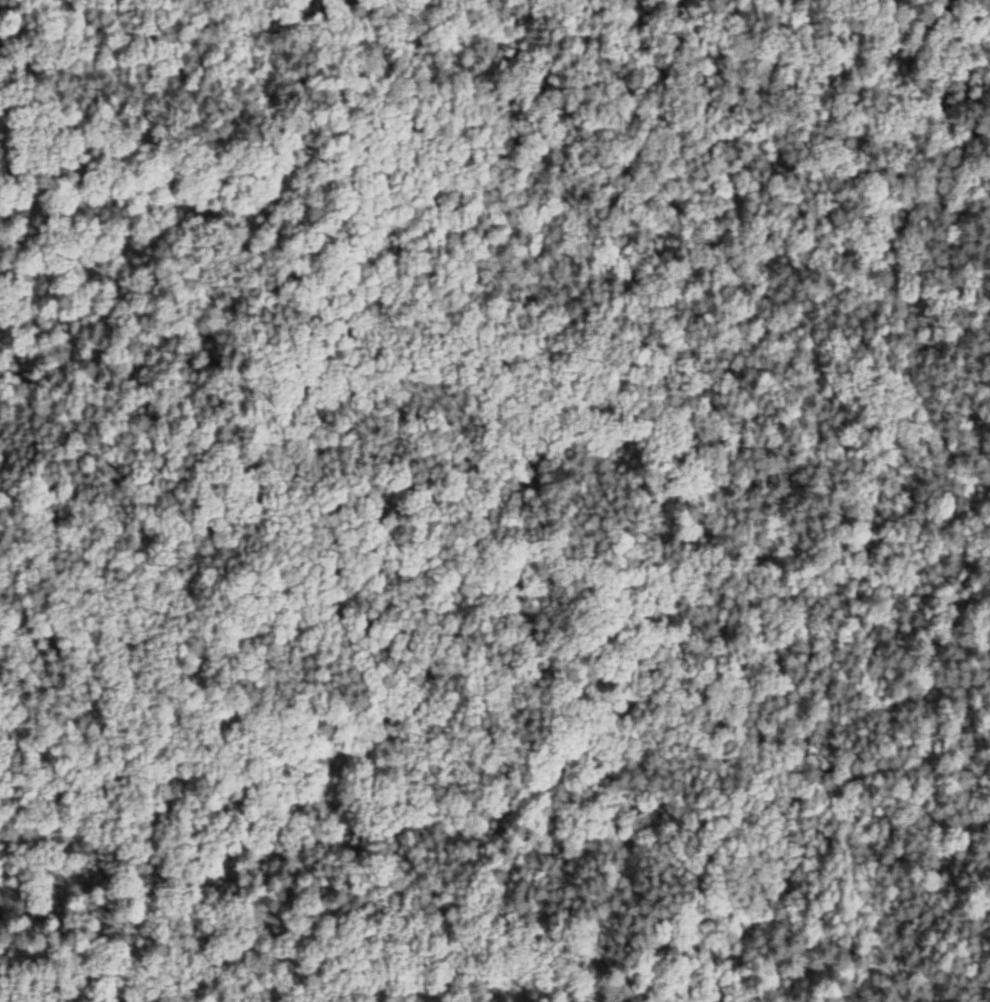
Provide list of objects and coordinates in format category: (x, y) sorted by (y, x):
road: (813, 458)

